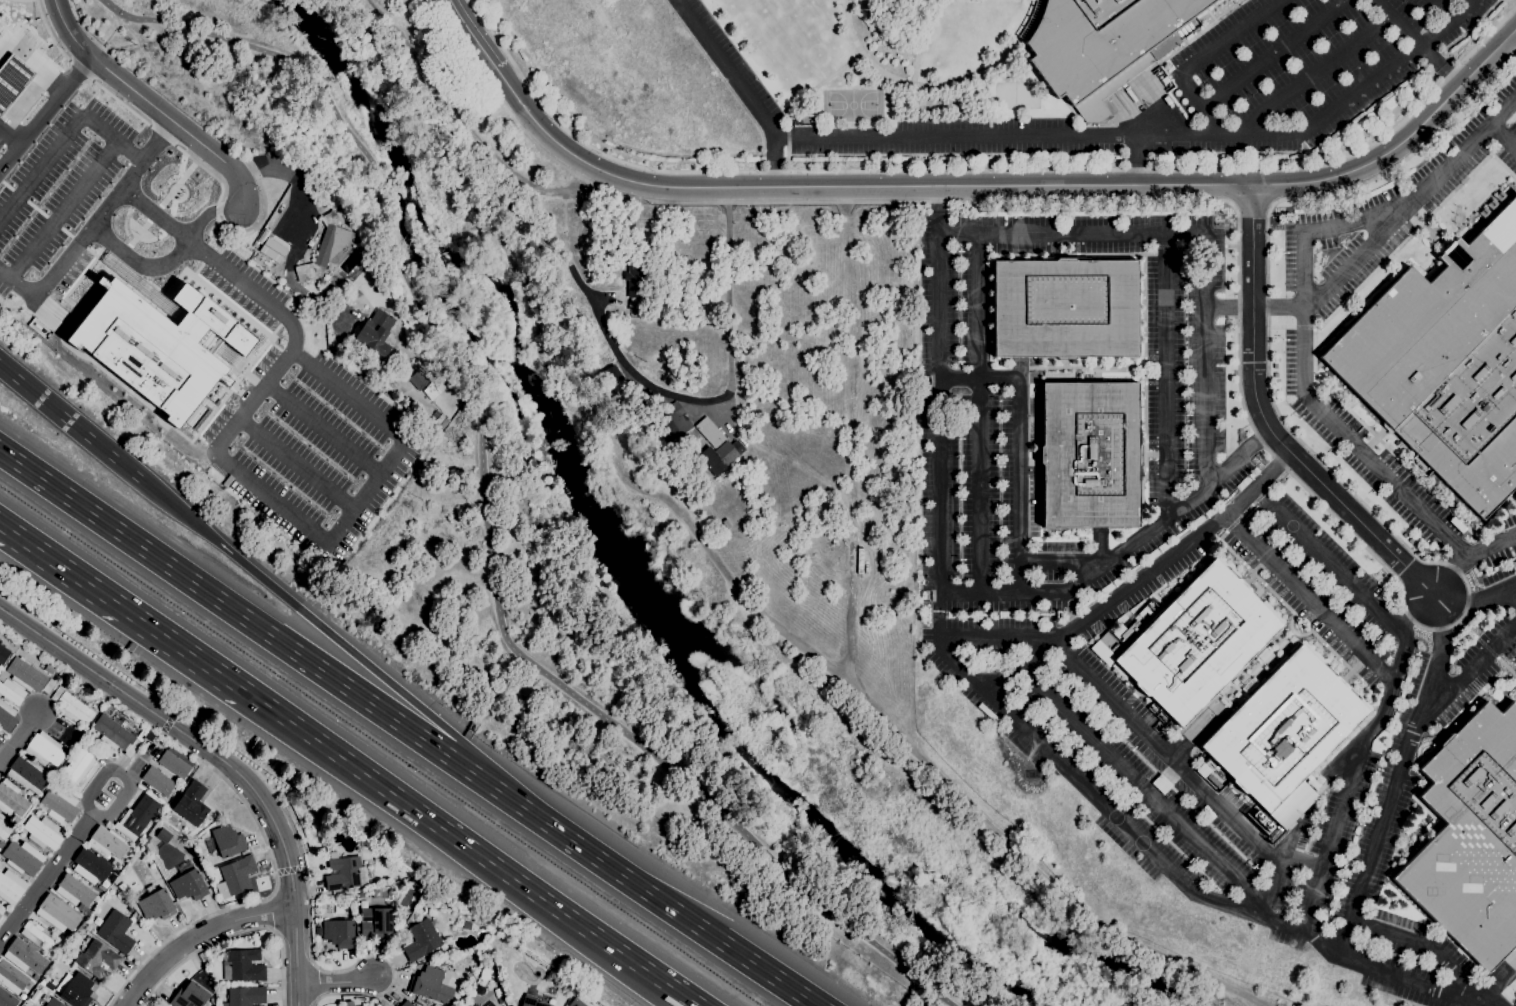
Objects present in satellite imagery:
road: (1443, 8)
road: (108, 26)
road: (84, 28)
road: (49, 31)
road: (4, 33)
road: (475, 34)
road: (35, 36)
road: (1514, 36)
road: (921, 39)
road: (3, 41)
road: (1418, 42)
building: (1103, 45)
road: (1276, 52)
road: (29, 58)
parking lot: (738, 61)
road: (1199, 61)
road: (60, 62)
parking lot: (1315, 62)
road: (846, 66)
road: (80, 69)
road: (1310, 78)
building: (11, 79)
gas station: (11, 79)
building: (1164, 80)
road: (52, 81)
road: (879, 81)
road: (945, 86)
road: (742, 89)
road: (119, 101)
road: (152, 102)
park: (853, 105)
road: (988, 106)
road: (30, 108)
road: (43, 109)
road: (462, 121)
road: (160, 133)
road: (10, 134)
road: (1503, 136)
road: (7, 139)
road: (1151, 139)
parking lot: (974, 140)
road: (1, 145)
road: (53, 151)
road: (1138, 161)
road: (985, 169)
road: (176, 183)
road: (1010, 186)
road: (71, 197)
road: (151, 211)
road: (153, 213)
parking lot: (1383, 217)
road: (89, 221)
road: (226, 227)
road: (294, 230)
flagpole: (136, 233)
road: (137, 233)
road: (1197, 233)
road: (1376, 237)
building: (325, 248)
building: (271, 251)
road: (122, 252)
road: (165, 259)
building: (141, 285)
building: (635, 286)
building: (1064, 308)
road: (49, 312)
building: (375, 331)
building: (156, 345)
parking lot: (1168, 349)
building: (227, 353)
building: (1446, 362)
road: (1166, 373)
building: (611, 377)
building: (418, 379)
building: (618, 386)
building: (431, 391)
road: (661, 395)
road: (1315, 403)
road: (981, 416)
building: (436, 417)
building: (675, 421)
road: (1265, 422)
road: (75, 423)
building: (443, 423)
road: (1252, 426)
road: (322, 429)
building: (709, 432)
road: (1019, 447)
building: (1089, 454)
building: (720, 456)
parking lot: (986, 460)
road: (296, 463)
road: (266, 496)
road: (486, 508)
road: (1117, 553)
road: (1063, 563)
road: (1449, 575)
road: (1143, 578)
road: (730, 581)
parking lot: (1323, 582)
road: (1309, 600)
road: (1475, 606)
road: (124, 607)
river: (656, 610)
road: (236, 611)
road: (1419, 614)
road: (318, 623)
building: (1195, 642)
road: (993, 648)
building: (3, 653)
building: (49, 669)
building: (25, 674)
road: (1466, 677)
building: (71, 685)
building: (49, 686)
road: (1391, 691)
building: (11, 692)
road: (862, 696)
building: (71, 706)
building: (6, 717)
road: (1012, 719)
building: (1284, 728)
building: (115, 734)
road: (17, 735)
building: (44, 749)
road: (221, 760)
building: (173, 764)
building: (77, 766)
road: (1178, 771)
road: (1399, 773)
building: (27, 774)
parking lot: (1163, 774)
building: (156, 780)
road: (1140, 791)
building: (29, 792)
building: (11, 799)
building: (191, 803)
road: (243, 803)
building: (58, 804)
building: (36, 813)
building: (136, 817)
building: (1259, 817)
building: (15, 819)
building: (4, 828)
building: (43, 832)
building: (163, 835)
building: (15, 836)
road: (1334, 836)
building: (1471, 837)
building: (225, 841)
building: (106, 842)
road: (473, 850)
building: (22, 857)
road: (53, 866)
building: (90, 866)
building: (342, 873)
building: (238, 875)
building: (188, 883)
building: (11, 887)
road: (646, 889)
building: (74, 890)
building: (156, 905)
building: (2, 909)
building: (83, 909)
road: (272, 912)
building: (57, 913)
building: (0, 917)
building: (374, 922)
building: (116, 931)
building: (339, 933)
building: (36, 934)
road: (234, 934)
road: (197, 936)
building: (421, 940)
road: (1422, 944)
building: (24, 956)
building: (97, 958)
road: (311, 958)
building: (243, 965)
building: (12, 977)
road: (335, 981)
building: (451, 982)
building: (430, 985)
building: (74, 989)
building: (189, 995)
building: (22, 996)
building: (244, 996)
building: (6, 999)
building: (498, 999)
building: (532, 1001)
building: (53, 1002)
building: (576, 1002)
building: (405, 1004)
building: (485, 1005)
building: (495, 1005)

